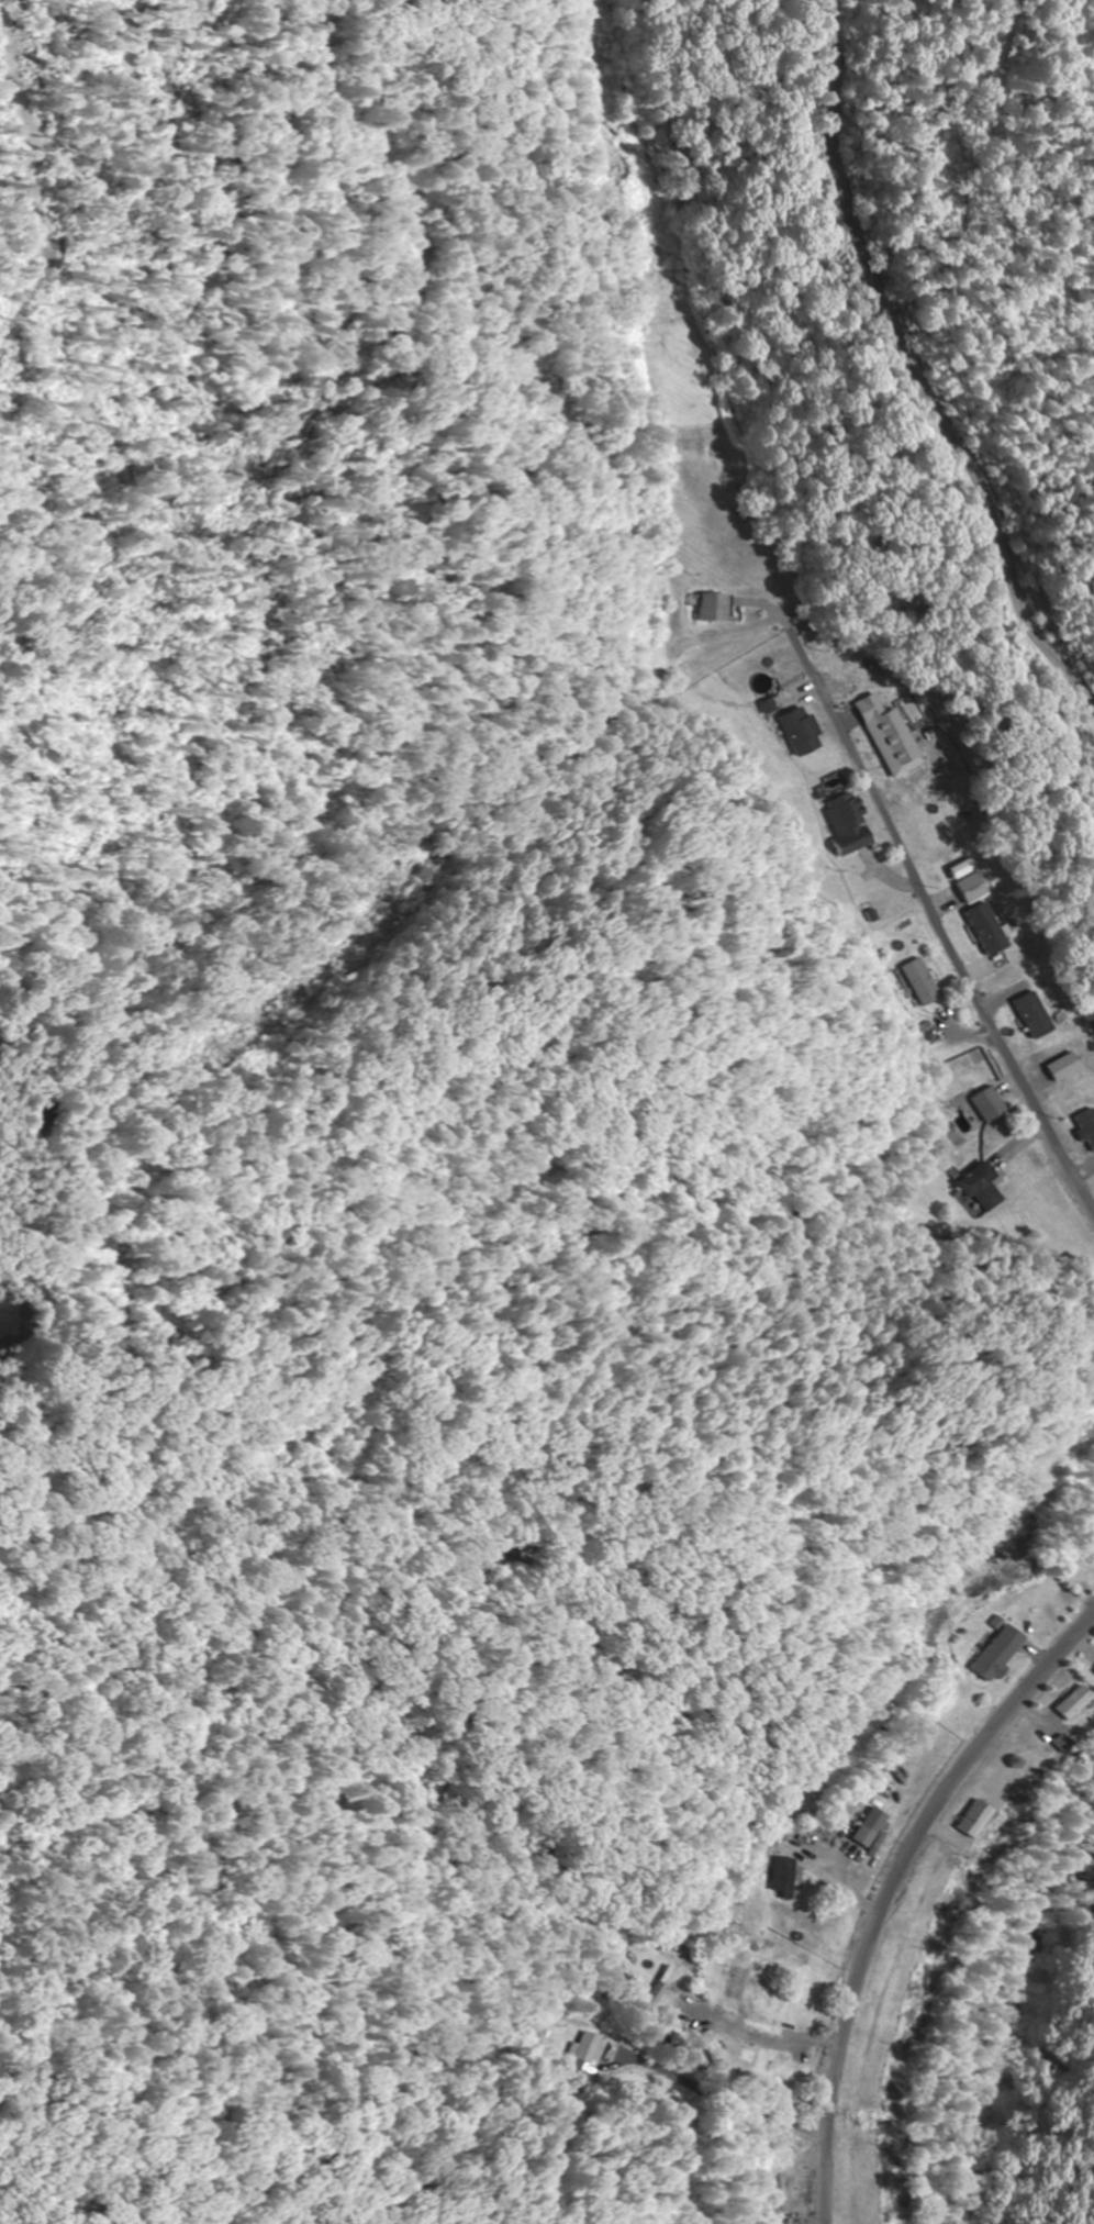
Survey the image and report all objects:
building: (718, 608)
building: (804, 733)
building: (891, 733)
building: (852, 823)
road: (924, 910)
building: (926, 982)
building: (993, 1105)
building: (987, 1188)
building: (1007, 1654)
building: (1075, 1703)
building: (880, 1830)
building: (792, 1878)
road: (905, 1899)
building: (743, 1984)
building: (665, 1988)
building: (584, 2050)
building: (647, 2091)
building: (780, 2189)

